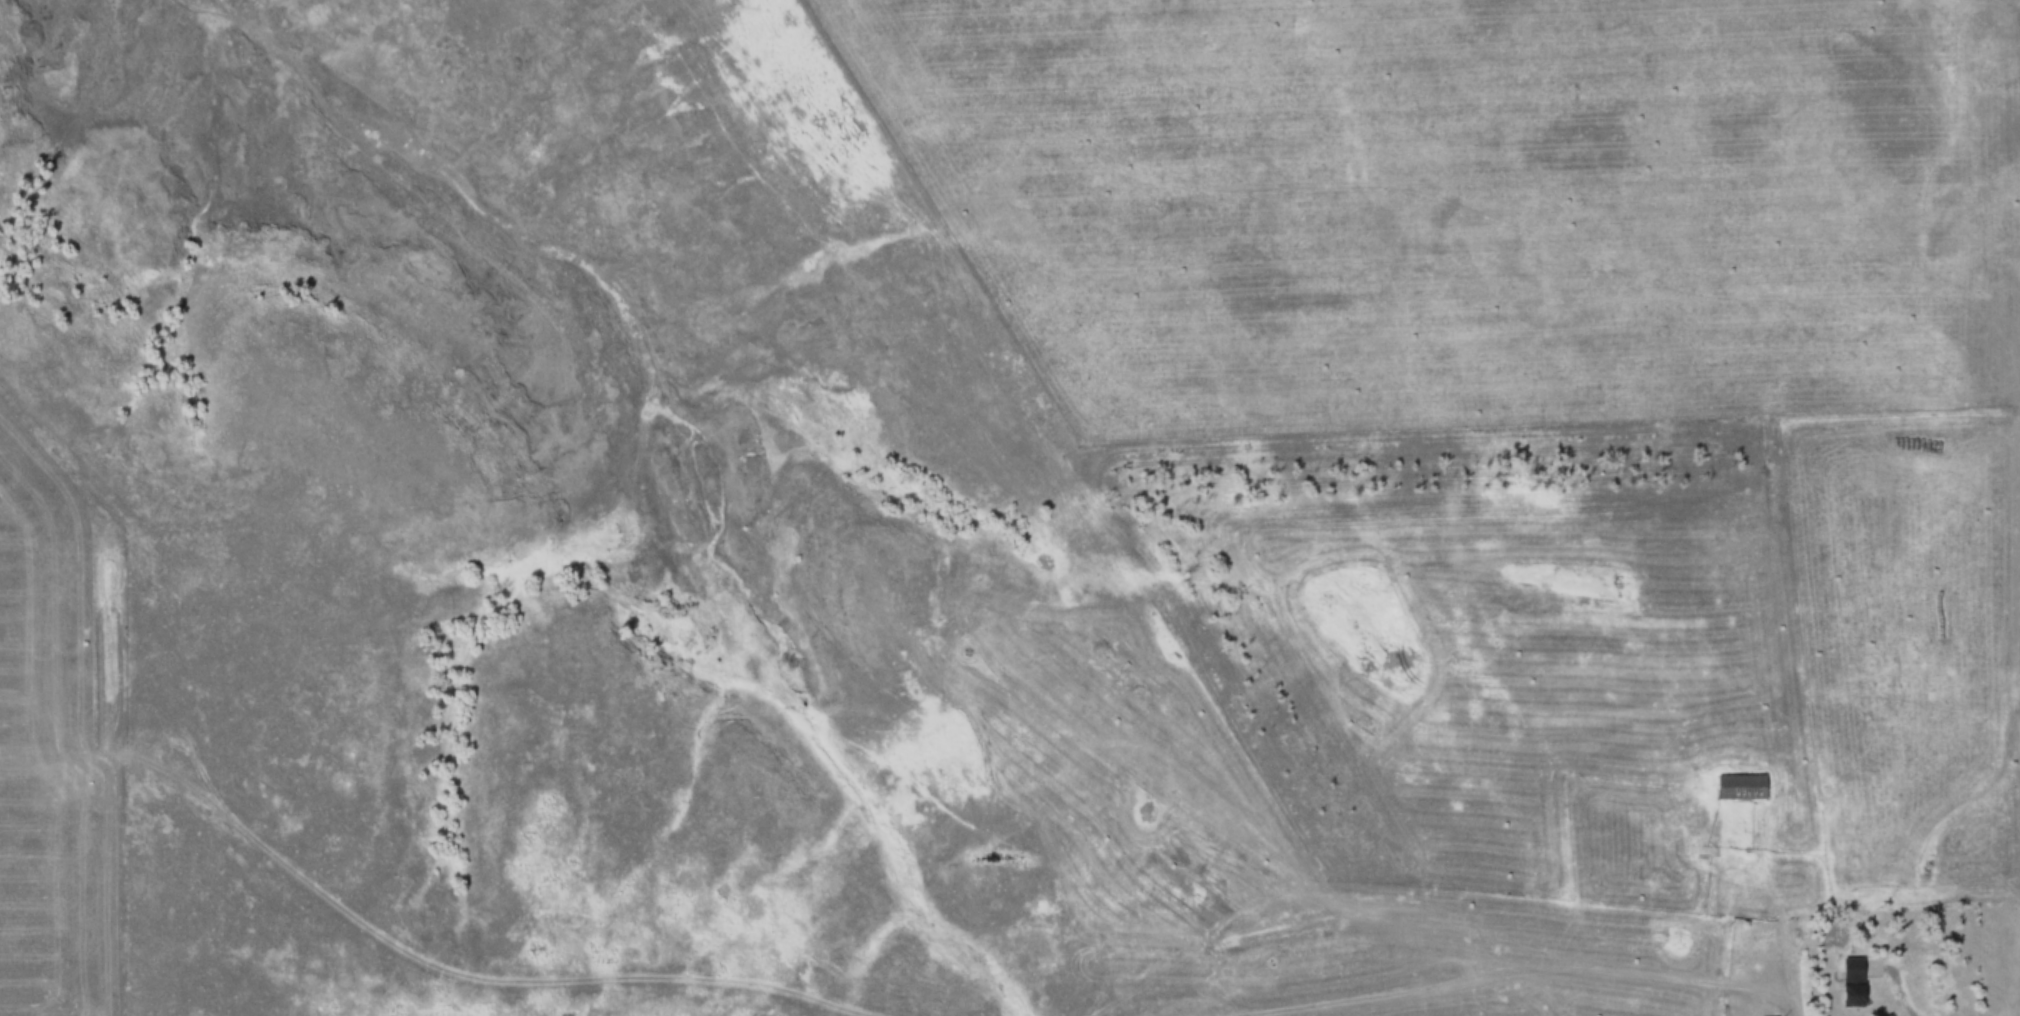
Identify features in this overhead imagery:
building: (1737, 780)
building: (1823, 783)
silo: (1823, 783)
building: (1818, 798)
silo: (1818, 798)
building: (1848, 975)
building: (1764, 1014)

